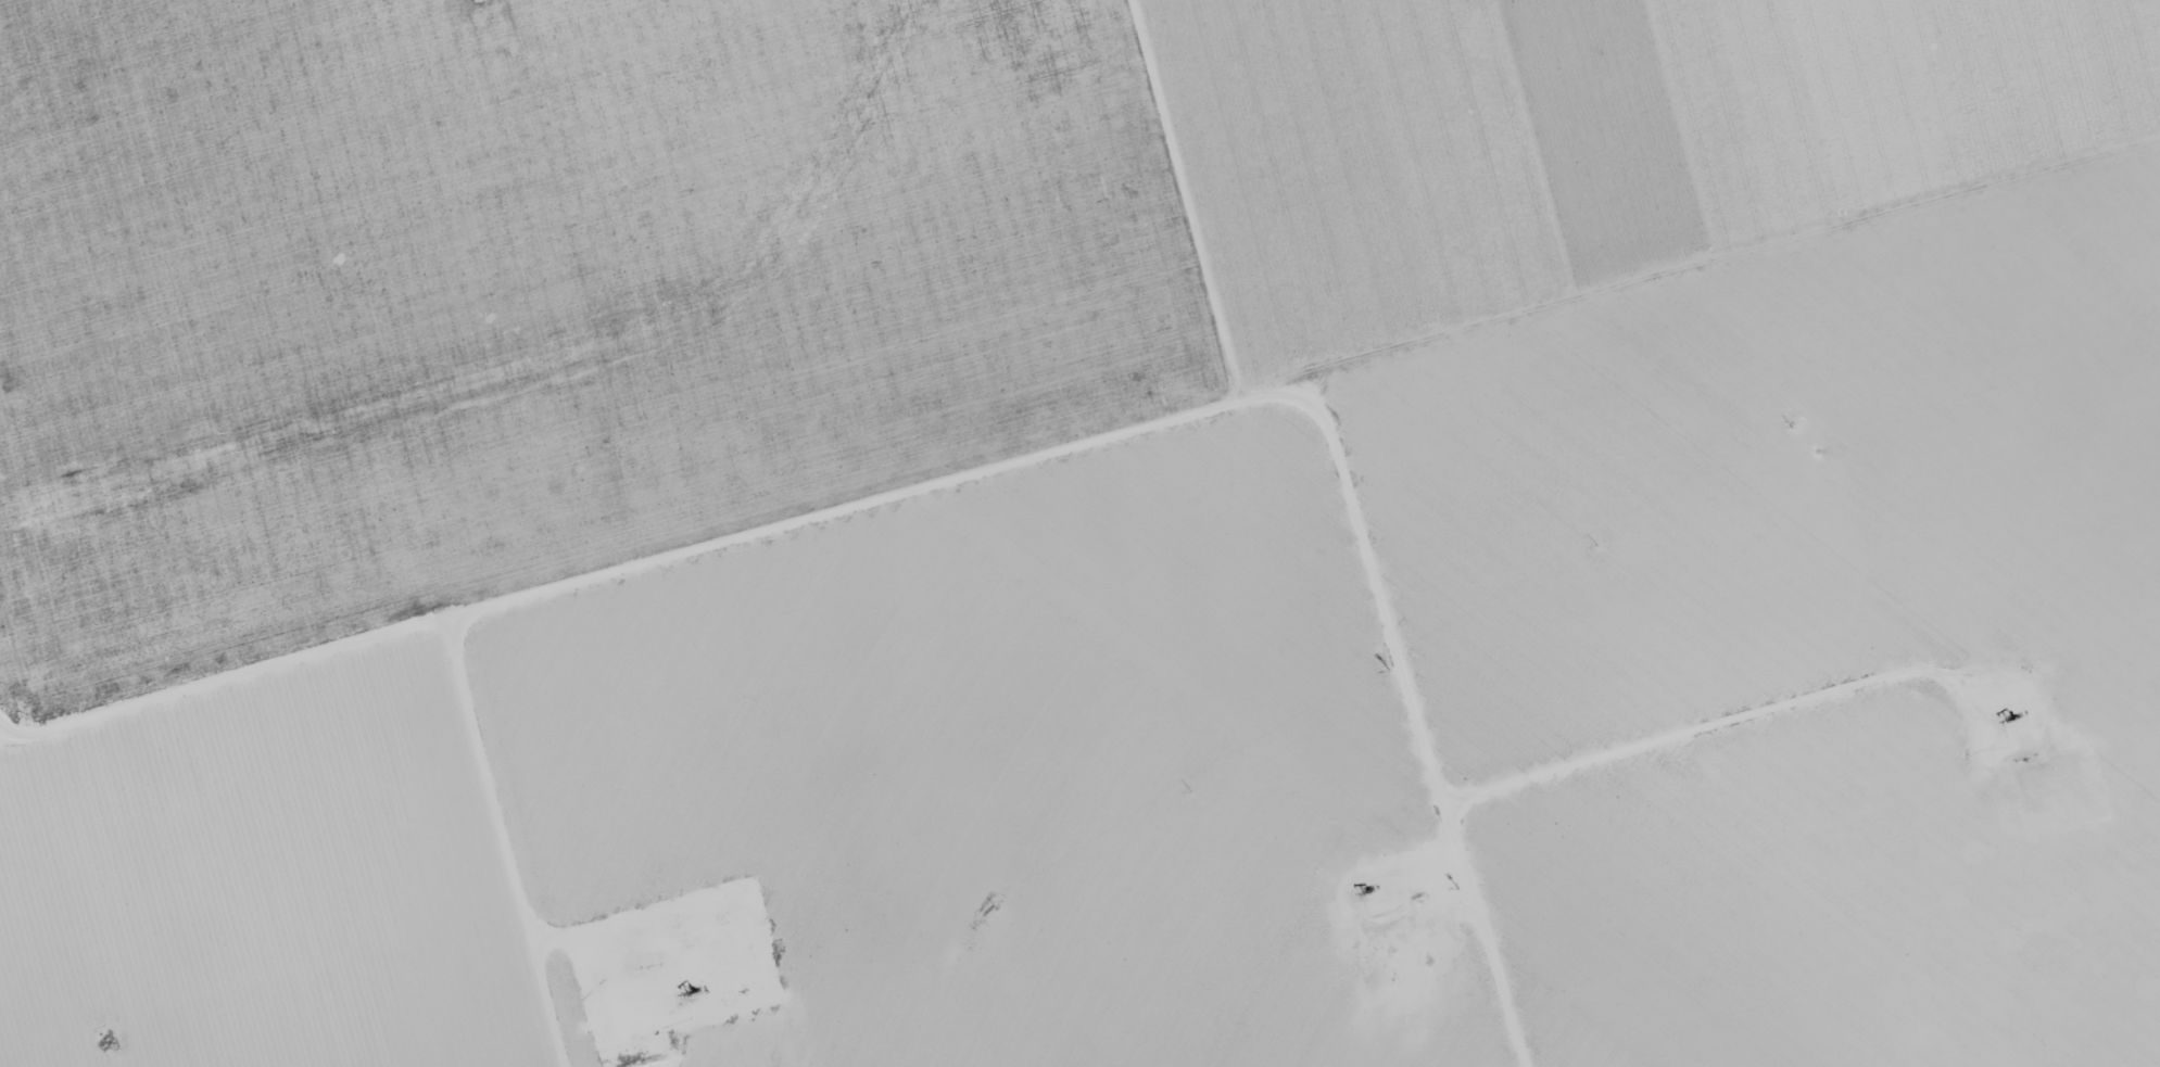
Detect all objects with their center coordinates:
road: (422, 679)

